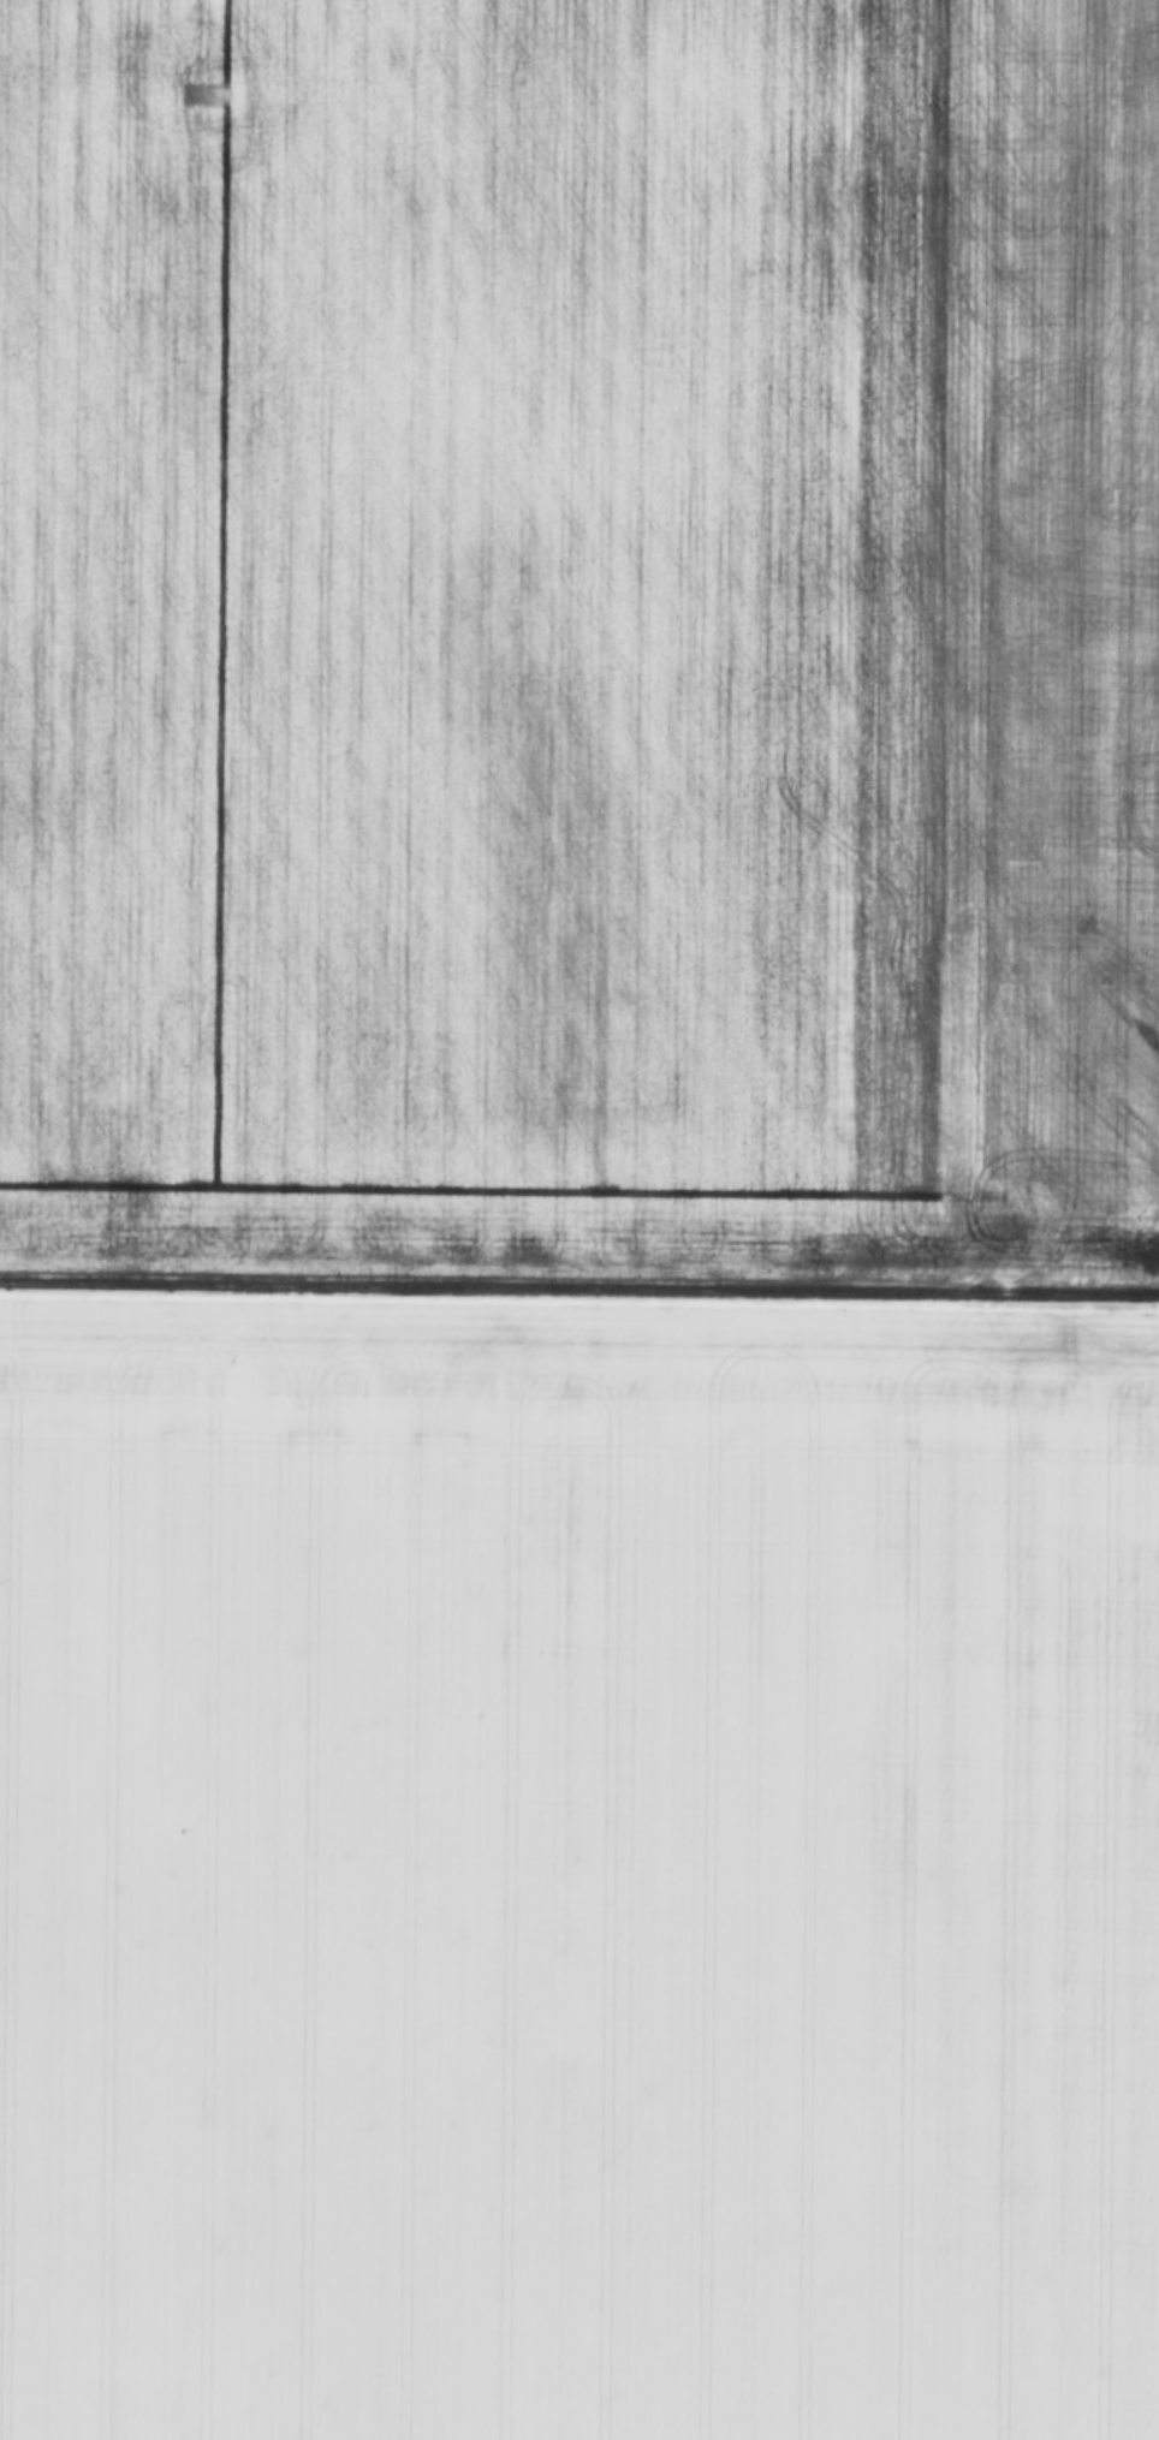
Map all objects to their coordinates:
road: (579, 1286)

